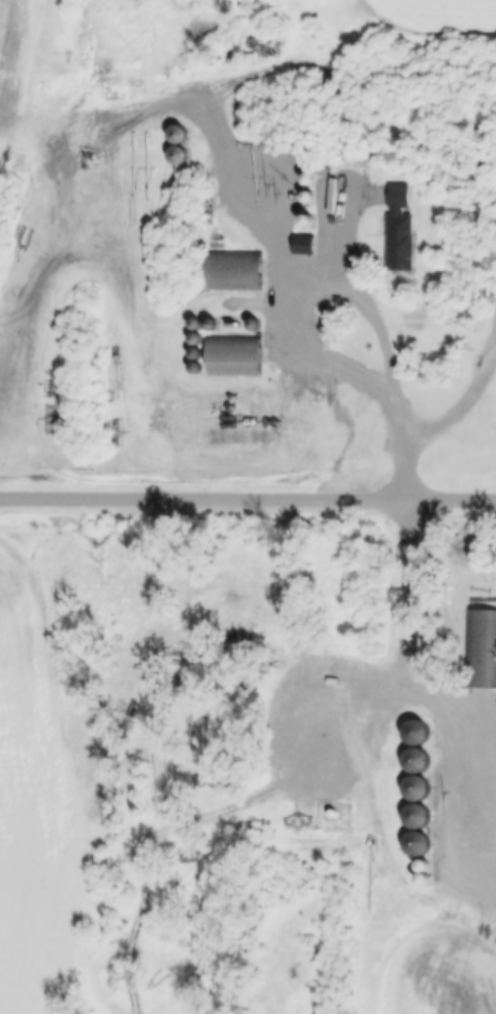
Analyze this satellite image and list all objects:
building: (304, 21)
silo: (304, 21)
building: (300, 51)
silo: (300, 51)
building: (180, 133)
silo: (180, 133)
building: (179, 155)
silo: (179, 155)
building: (326, 170)
silo: (326, 170)
building: (311, 180)
silo: (311, 180)
building: (311, 197)
silo: (311, 197)
building: (210, 207)
silo: (210, 207)
building: (211, 222)
silo: (211, 222)
building: (311, 222)
silo: (311, 222)
building: (402, 232)
building: (306, 248)
building: (237, 273)
road: (335, 280)
storage tank: (486, 292)
building: (214, 324)
silo: (214, 324)
building: (198, 325)
silo: (198, 325)
building: (256, 326)
silo: (256, 326)
building: (198, 339)
silo: (198, 339)
building: (198, 353)
silo: (198, 353)
building: (237, 356)
building: (197, 368)
silo: (197, 368)
road: (460, 403)
road: (409, 465)
road: (248, 493)
building: (481, 649)
road: (421, 656)
building: (419, 732)
silo: (419, 732)
building: (419, 760)
silo: (419, 760)
building: (419, 788)
silo: (419, 788)
storage tank: (335, 813)
building: (419, 815)
silo: (419, 815)
building: (420, 843)
silo: (420, 843)
building: (190, 860)
building: (426, 871)
silo: (426, 871)
building: (426, 885)
silo: (426, 885)

